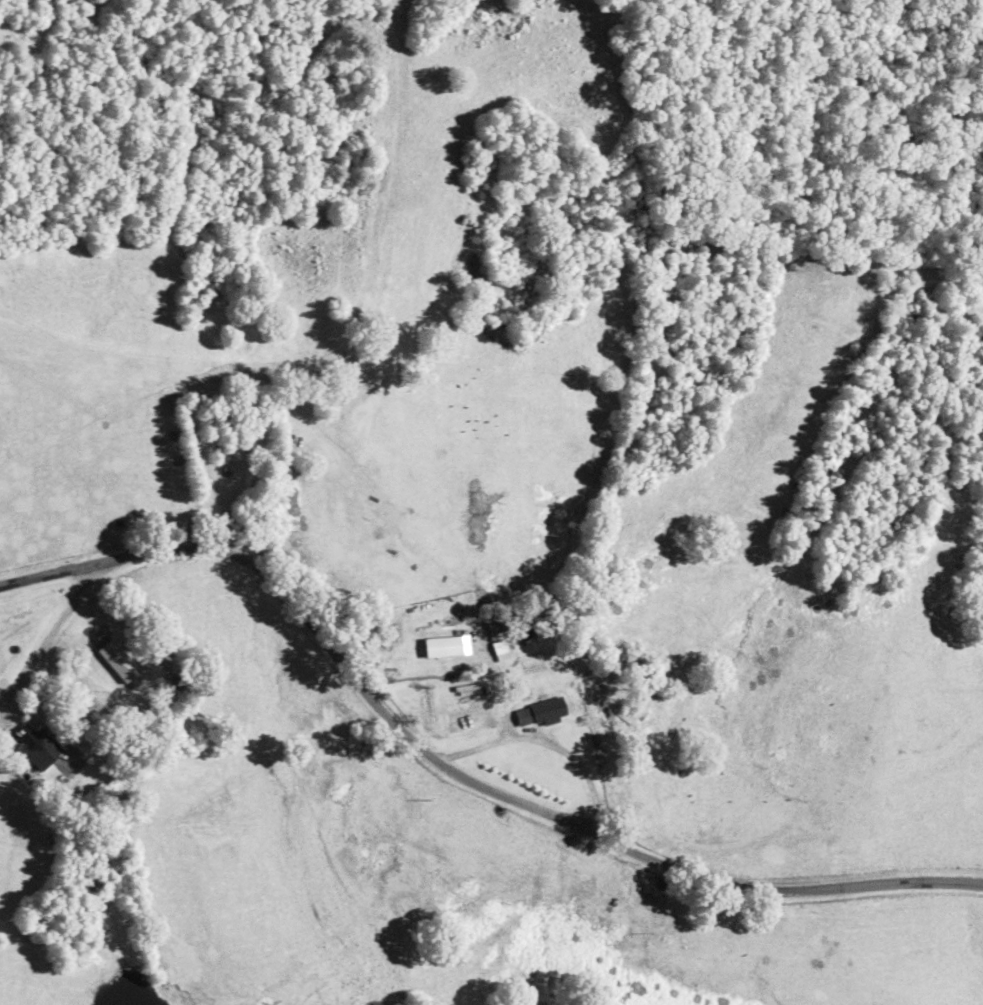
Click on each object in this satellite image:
road: (18, 571)
building: (99, 683)
building: (546, 714)
road: (492, 719)
road: (464, 746)
building: (39, 752)

